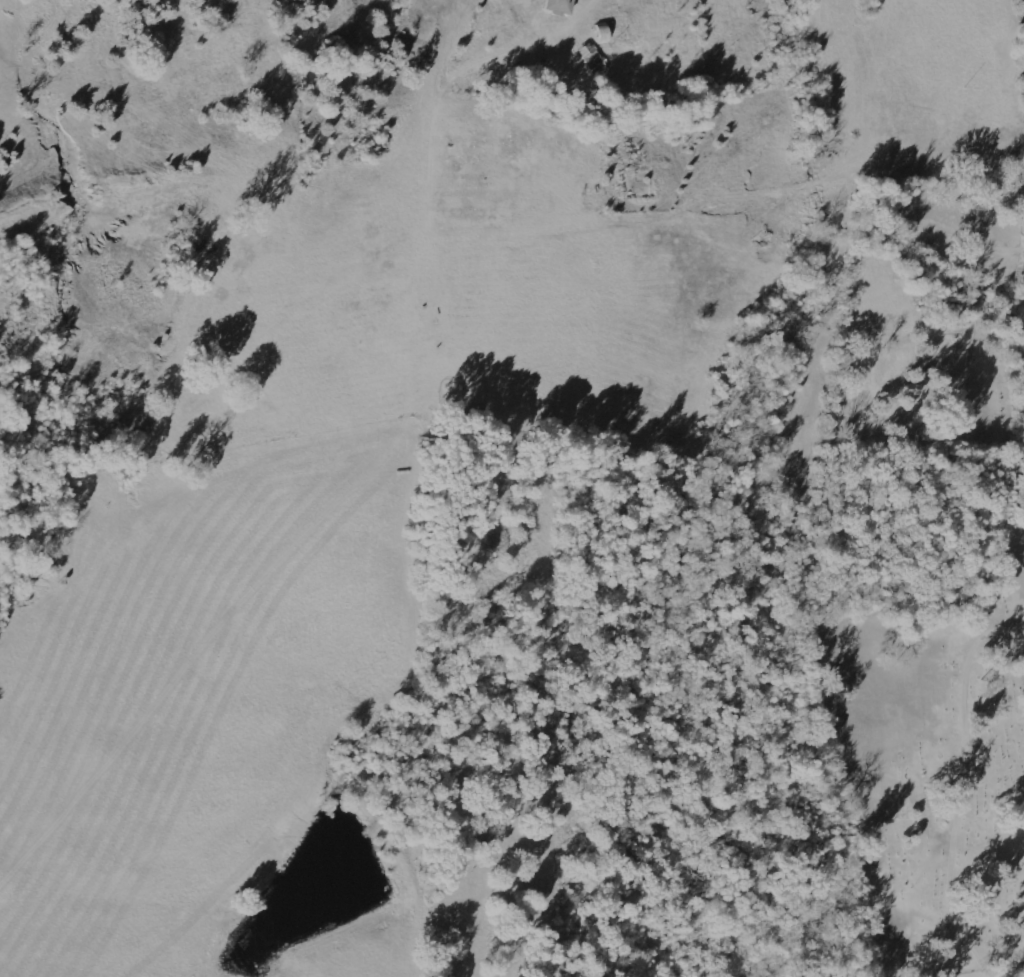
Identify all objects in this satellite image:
building: (559, 5)
building: (593, 58)
road: (759, 177)
park: (925, 343)

